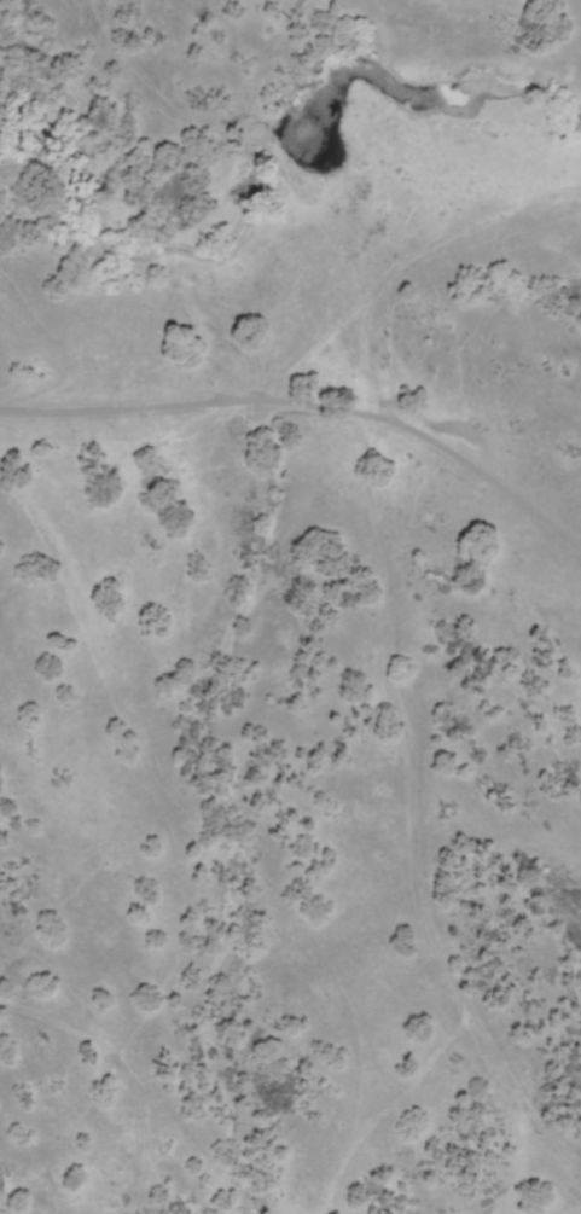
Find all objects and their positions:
road: (451, 63)
road: (309, 412)
road: (394, 598)

